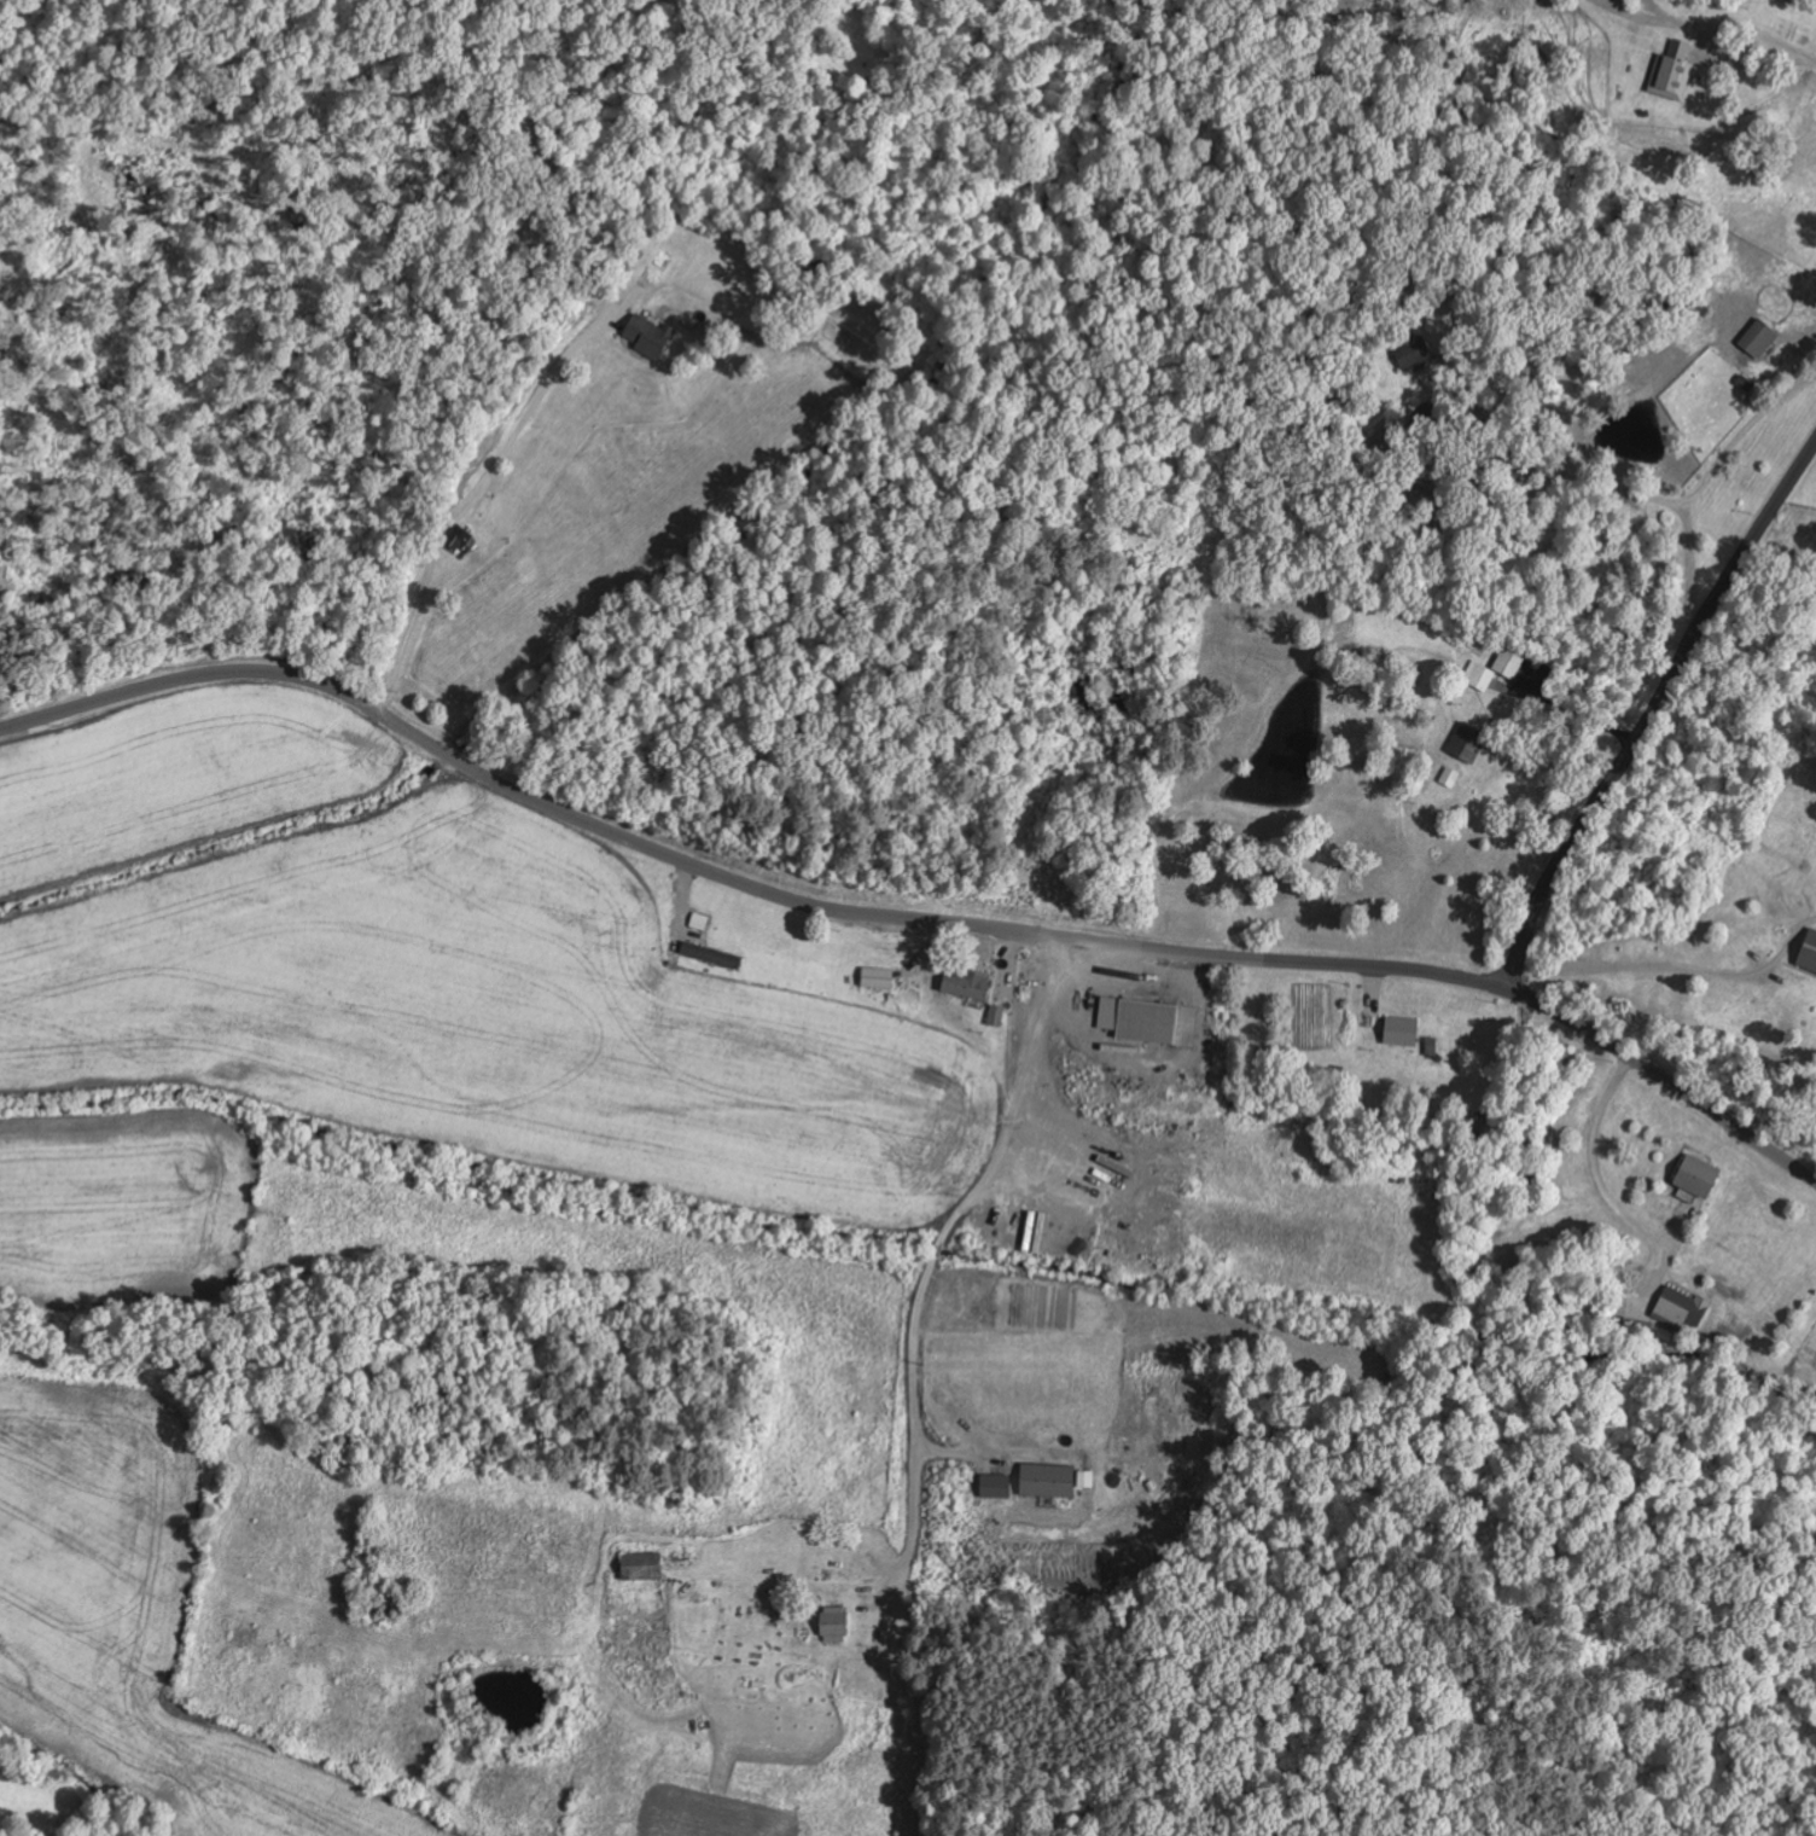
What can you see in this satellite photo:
building: (1672, 72)
road: (1498, 170)
building: (650, 333)
building: (1759, 337)
building: (1415, 351)
building: (459, 536)
road: (1652, 715)
building: (1467, 740)
road: (908, 918)
building: (1809, 952)
building: (711, 954)
road: (1675, 968)
building: (878, 977)
building: (966, 983)
building: (996, 1015)
building: (1140, 1019)
building: (1402, 1030)
building: (1699, 1176)
road: (921, 1254)
building: (1682, 1308)
building: (1659, 1330)
building: (997, 1480)
building: (1048, 1480)
building: (642, 1567)
building: (836, 1625)

